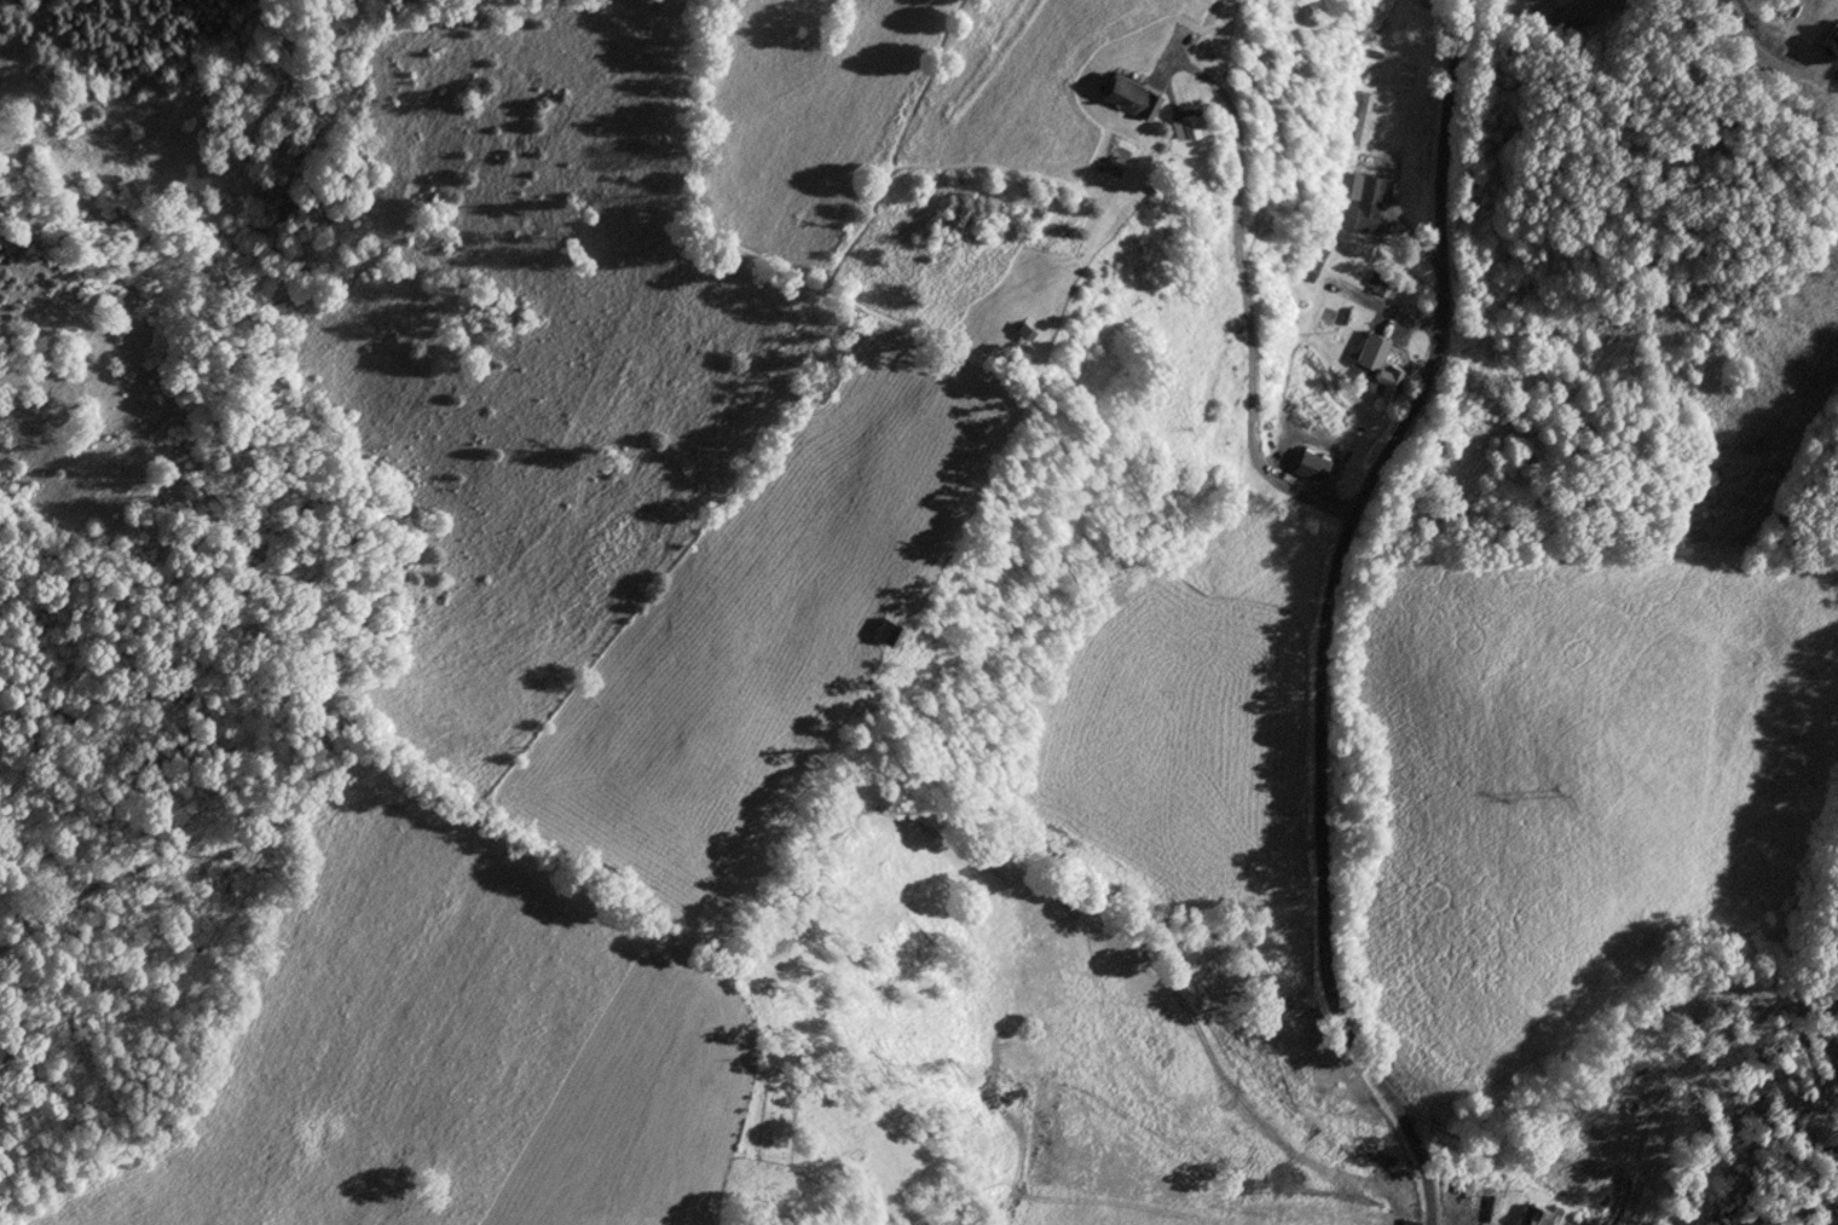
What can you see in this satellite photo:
building: (1131, 98)
building: (1363, 119)
building: (1369, 206)
building: (1311, 271)
building: (1381, 288)
road: (1245, 305)
building: (1304, 305)
building: (1378, 365)
building: (1312, 466)
road: (1337, 613)
building: (888, 630)
building: (1536, 1215)

